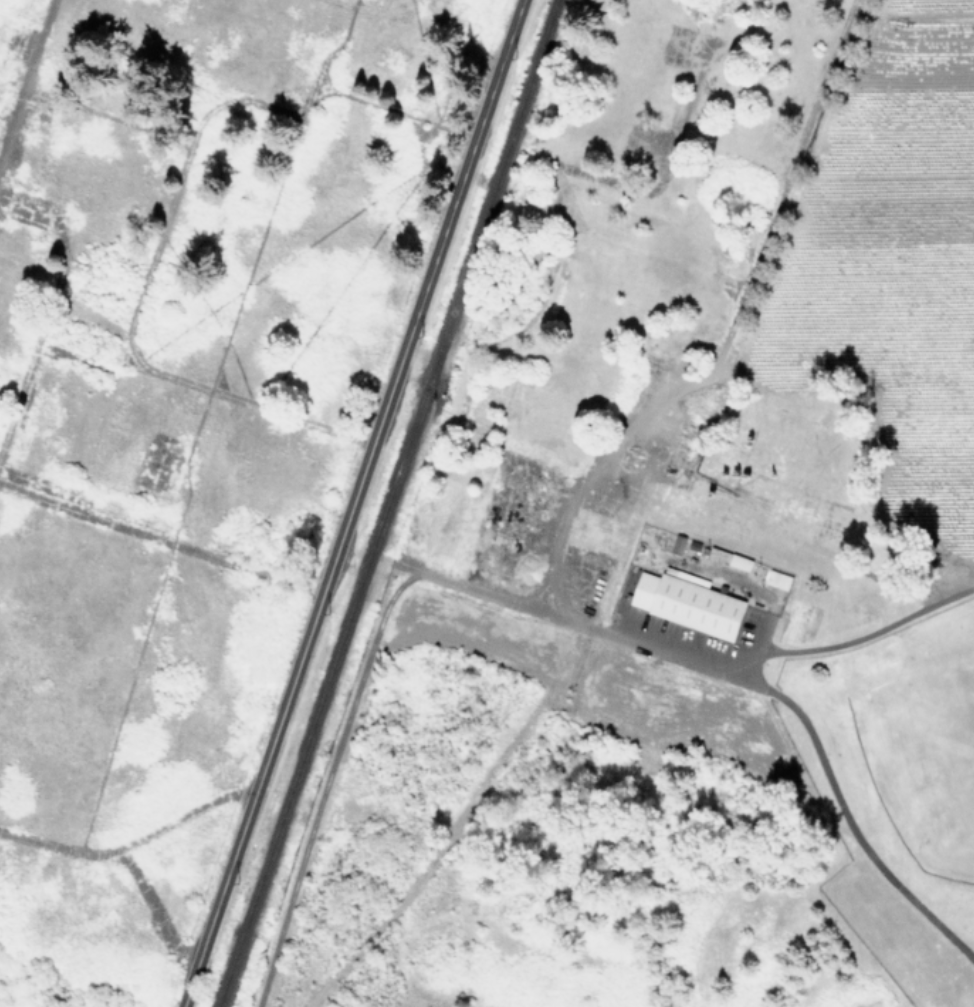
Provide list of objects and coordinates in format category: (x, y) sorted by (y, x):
road: (351, 503)
railway: (389, 503)
building: (677, 543)
building: (777, 579)
building: (688, 604)
parking lot: (691, 633)
road: (855, 638)
road: (676, 655)
road: (355, 691)
park: (919, 750)
road: (851, 827)

